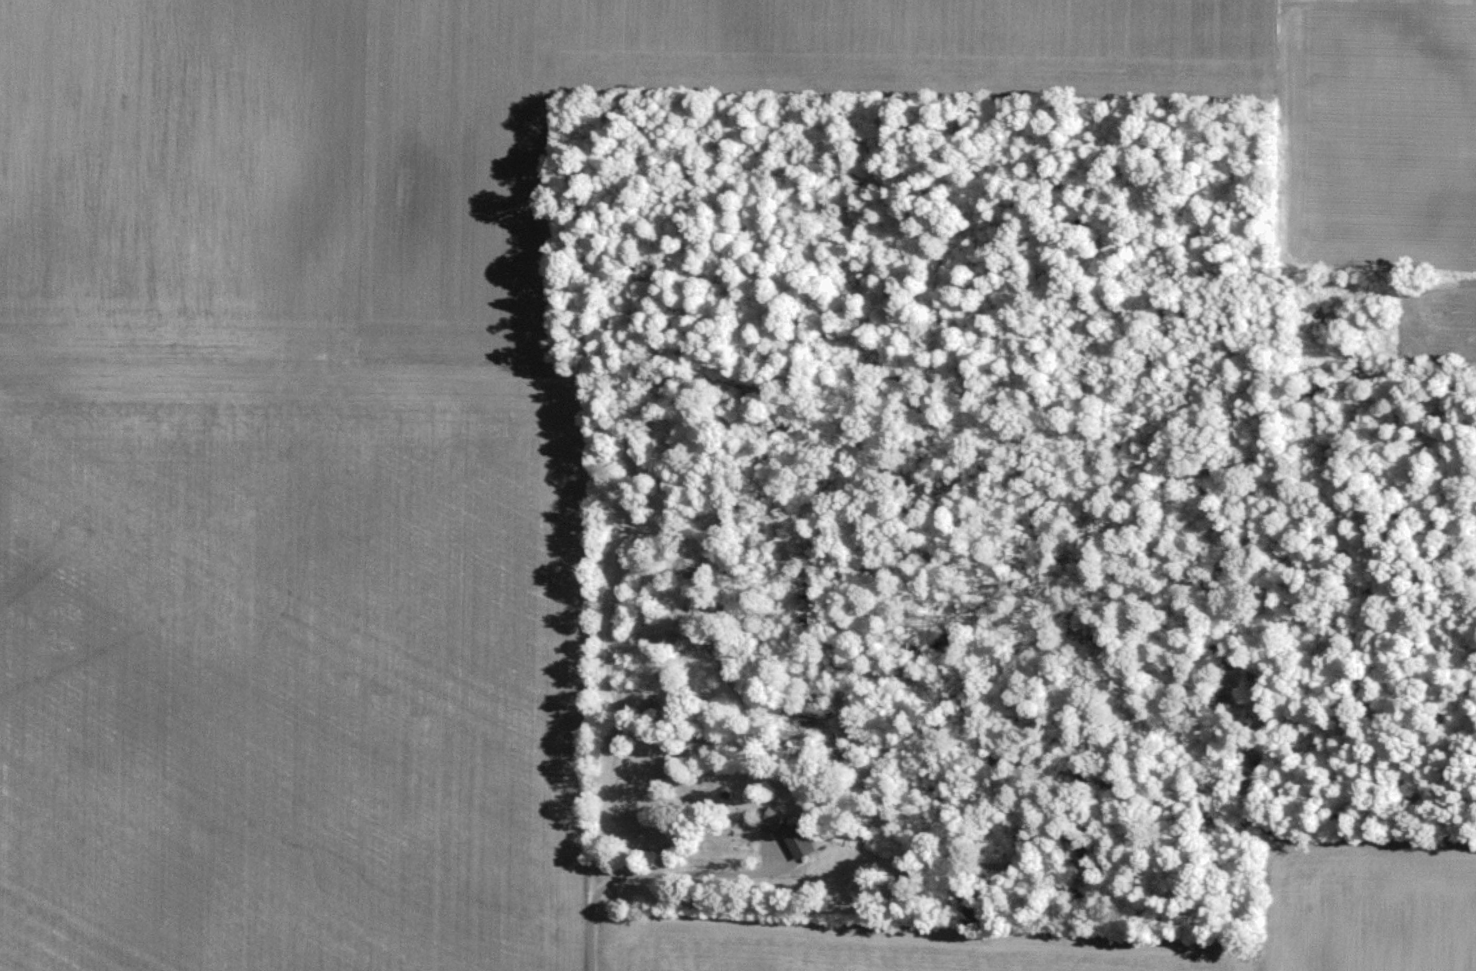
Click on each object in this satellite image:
road: (648, 874)

